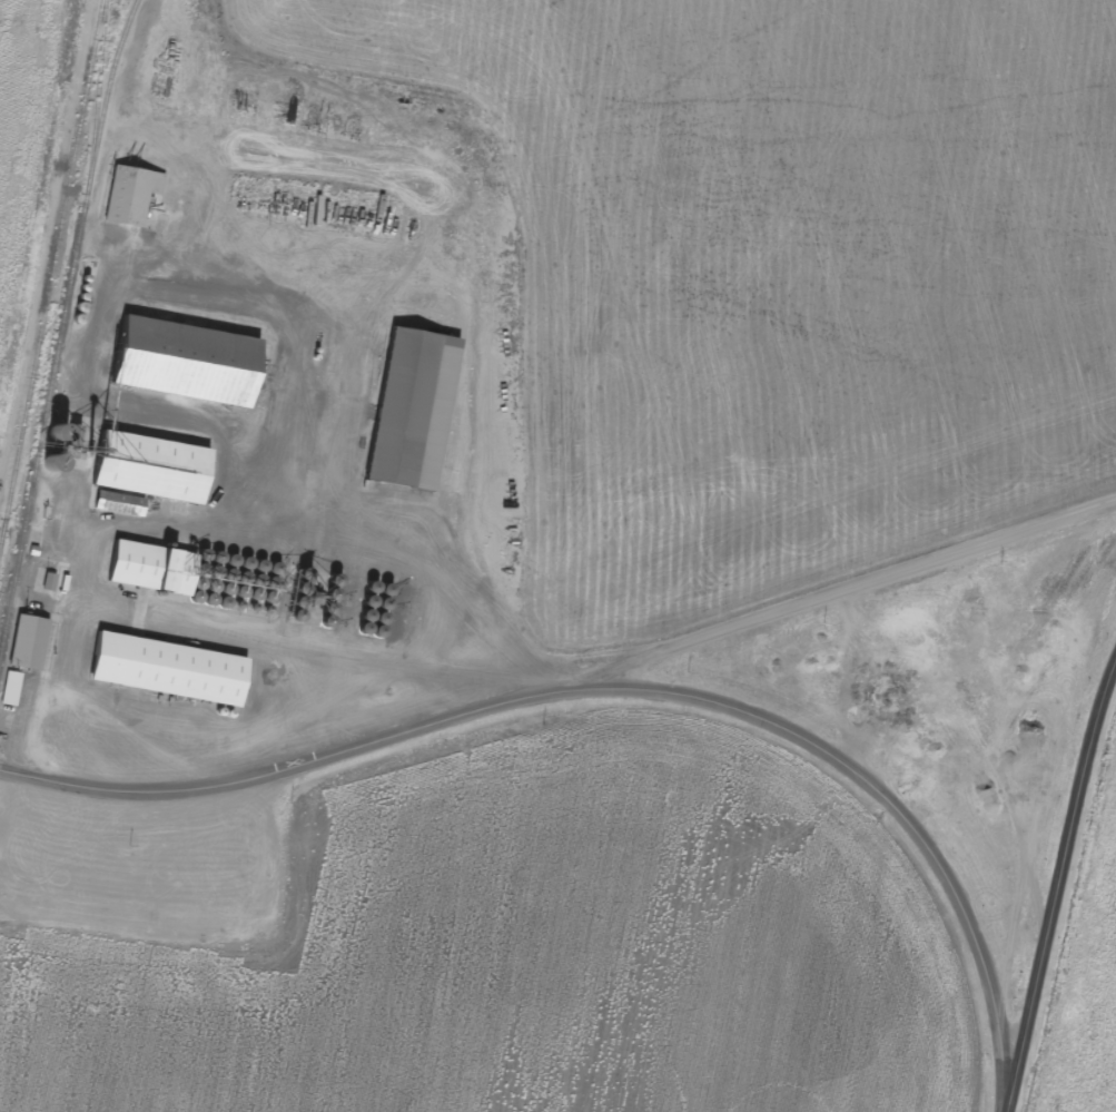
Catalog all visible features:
railway: (98, 99)
building: (130, 197)
railway: (51, 284)
railway: (62, 328)
building: (181, 363)
building: (409, 412)
building: (46, 434)
building: (144, 474)
railway: (3, 544)
building: (148, 570)
road: (826, 602)
building: (27, 646)
building: (166, 671)
building: (10, 690)
road: (616, 691)
road: (1056, 884)

